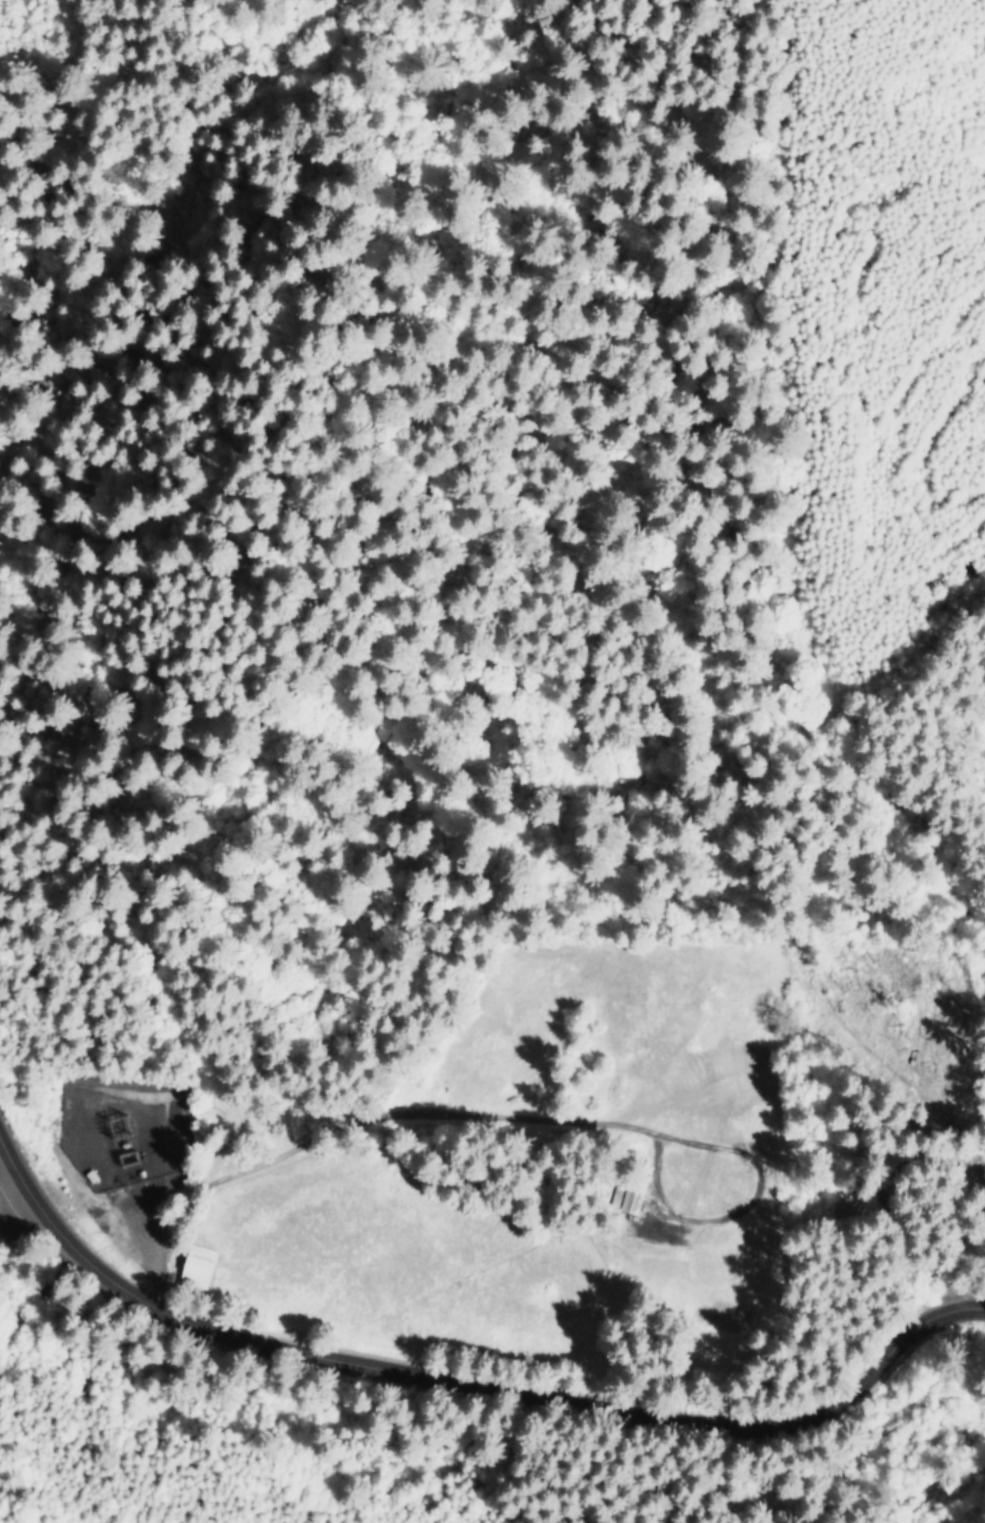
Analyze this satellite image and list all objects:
building: (621, 1201)
building: (193, 1265)
road: (112, 1381)
road: (470, 1381)

